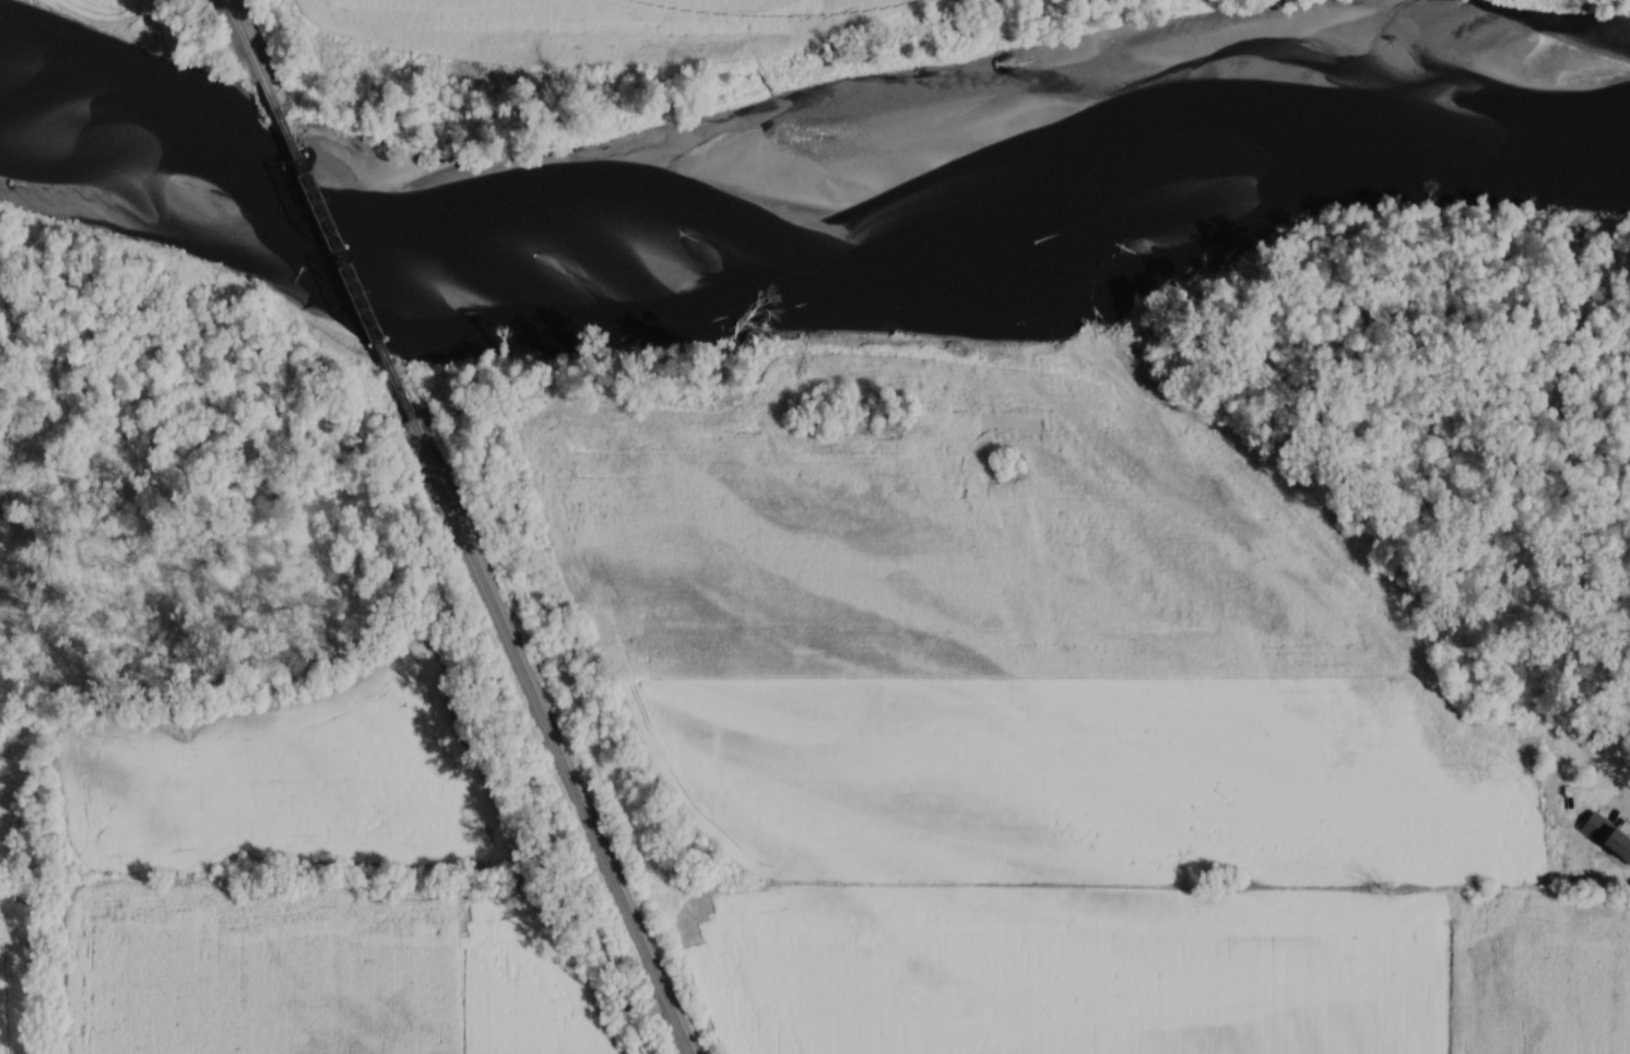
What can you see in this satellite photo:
railway: (249, 38)
river: (816, 202)
railway: (340, 247)
railway: (552, 735)
building: (1621, 842)

